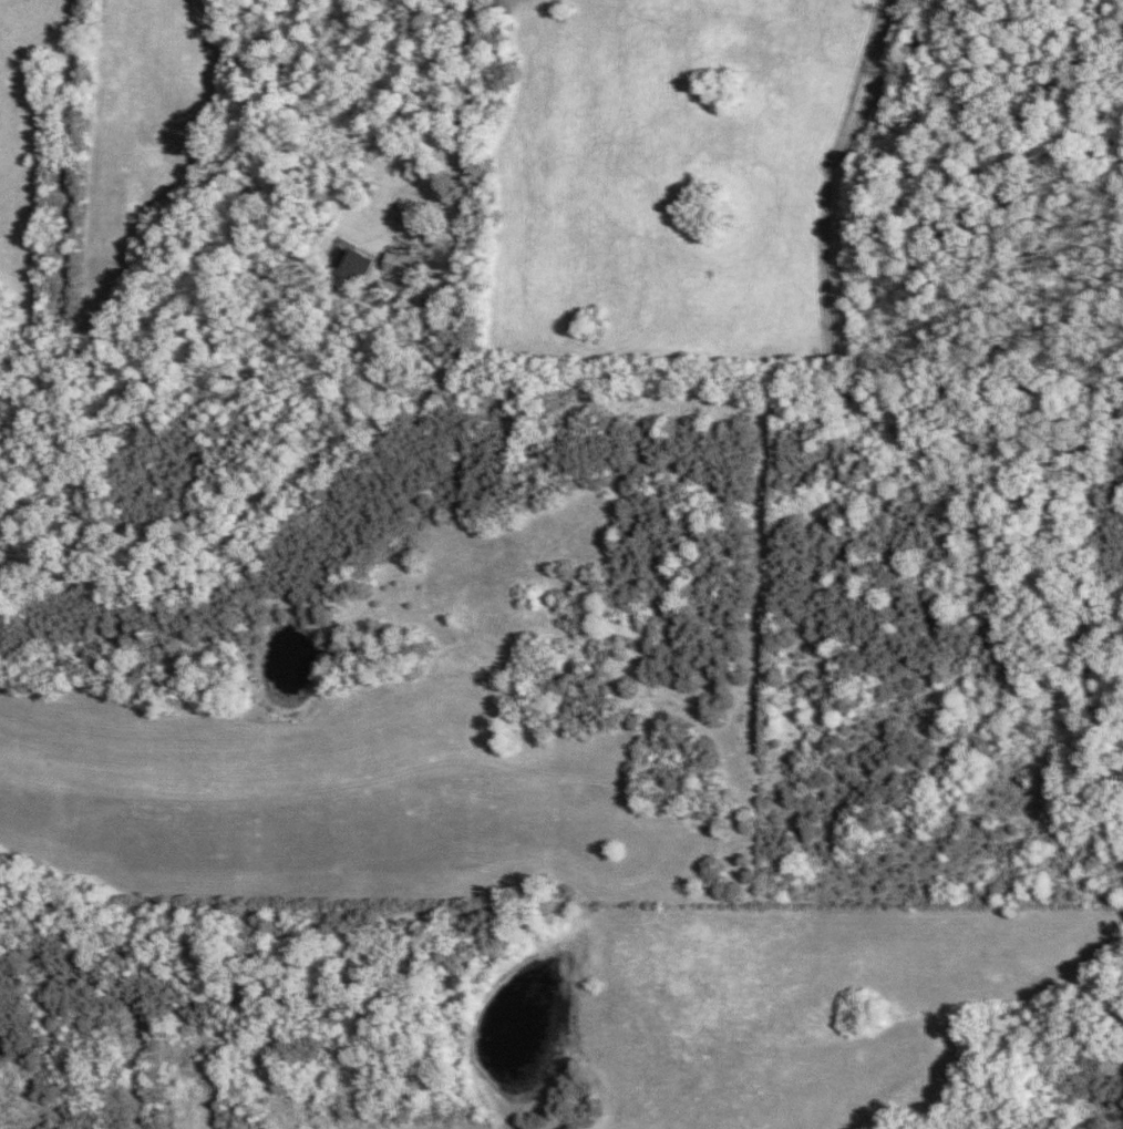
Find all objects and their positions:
road: (471, 126)
building: (399, 266)
building: (357, 269)

